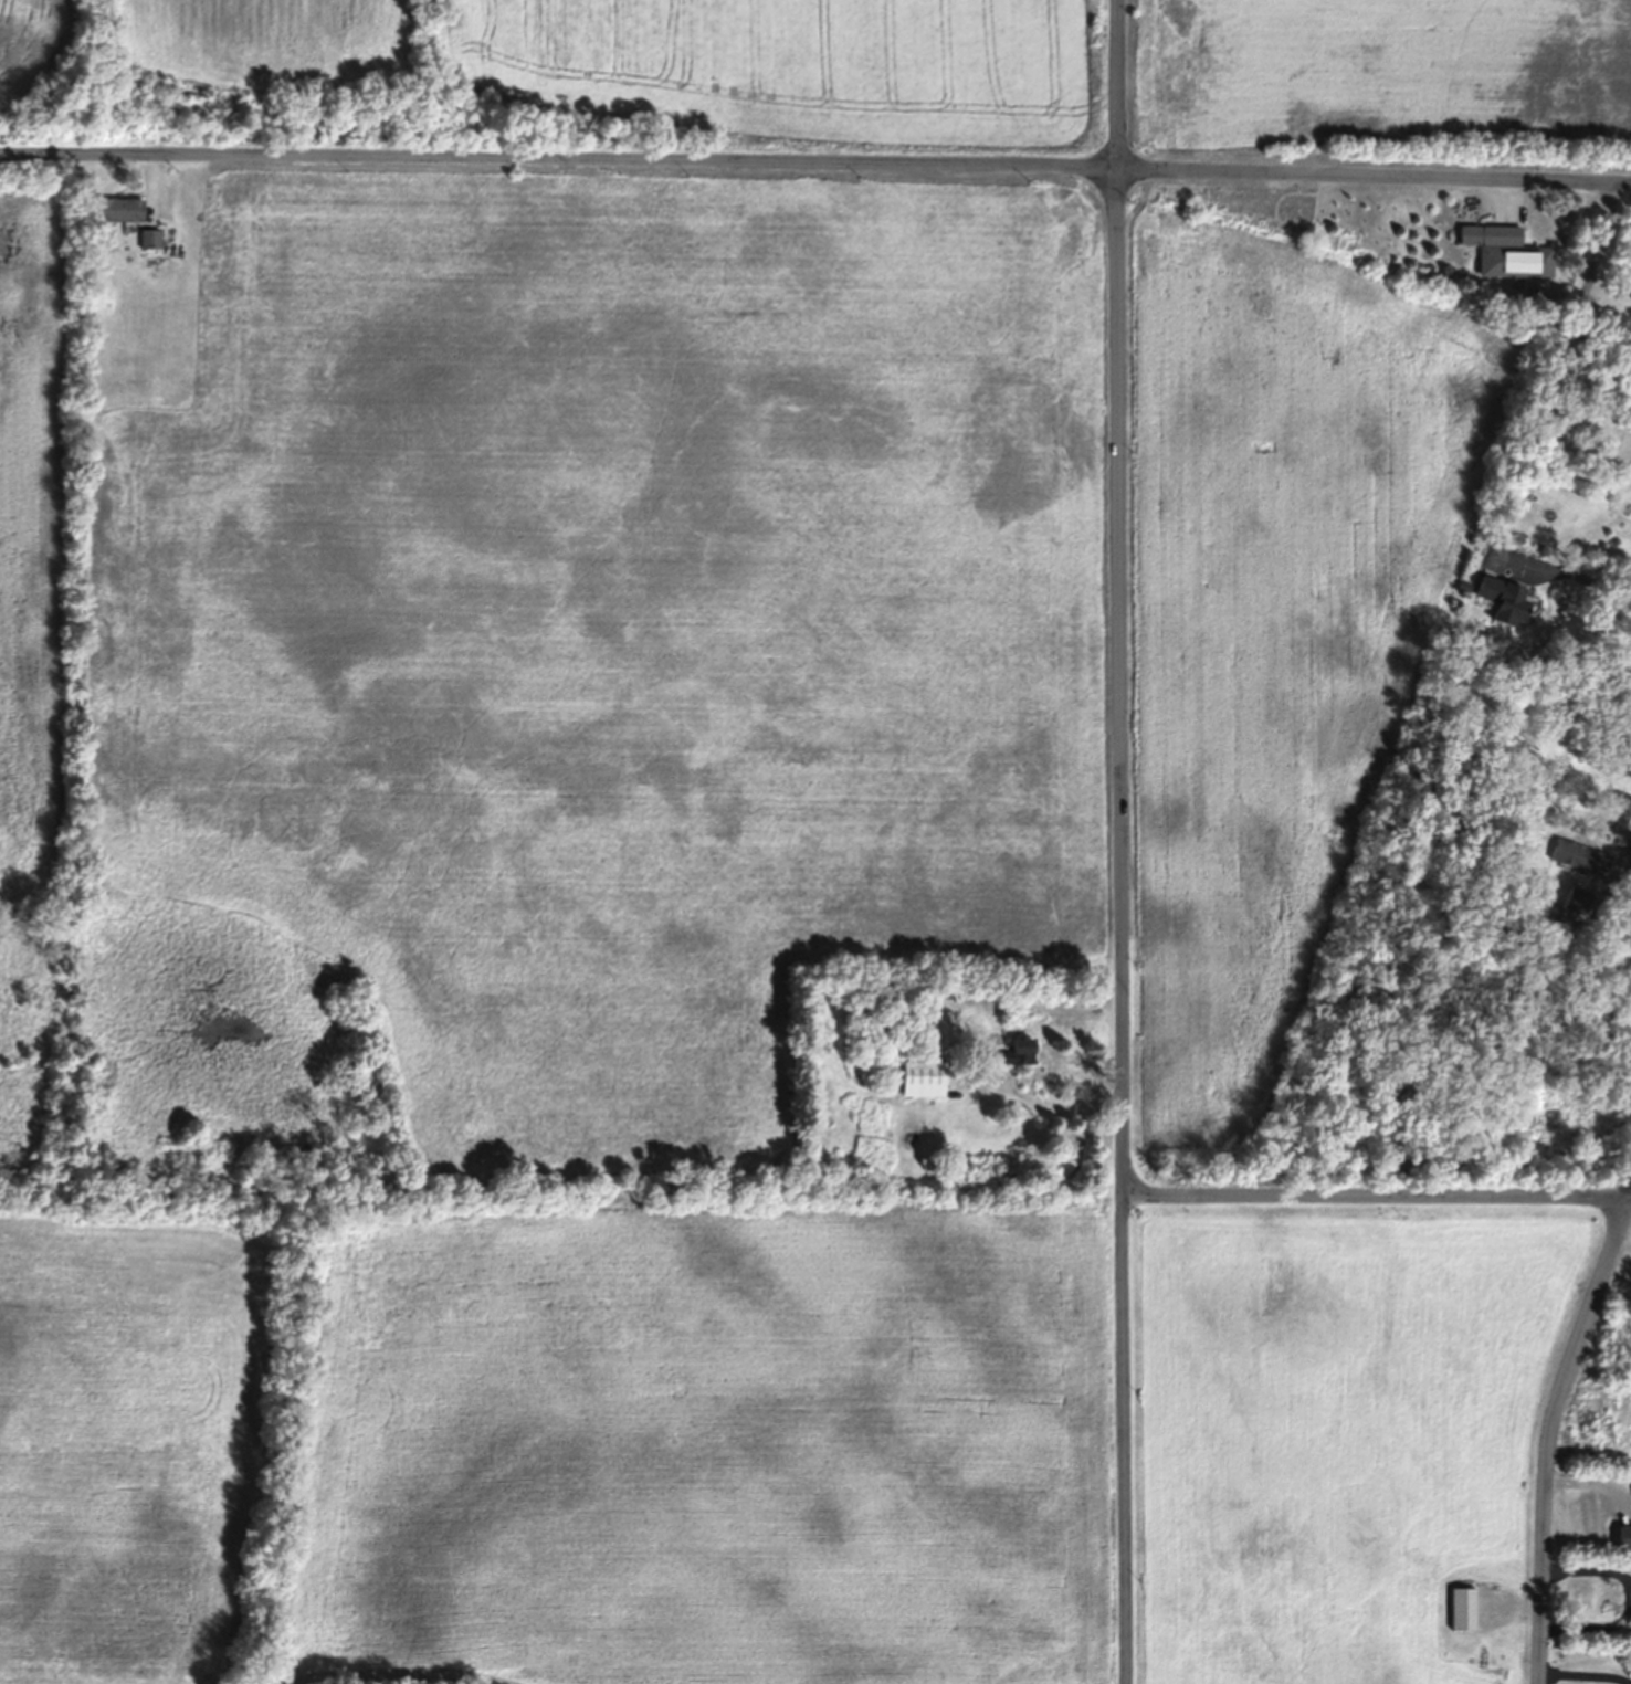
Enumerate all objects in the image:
road: (560, 162)
road: (1376, 176)
building: (125, 209)
building: (154, 238)
building: (1507, 252)
road: (1590, 286)
road: (1569, 580)
building: (1500, 597)
crop: (1269, 627)
road: (1541, 801)
road: (1125, 842)
building: (1569, 852)
building: (1577, 898)
building: (930, 1077)
road: (1057, 1105)
road: (1629, 1191)
road: (1377, 1194)
road: (1548, 1433)
road: (1628, 1596)
building: (1462, 1608)
road: (1586, 1670)

